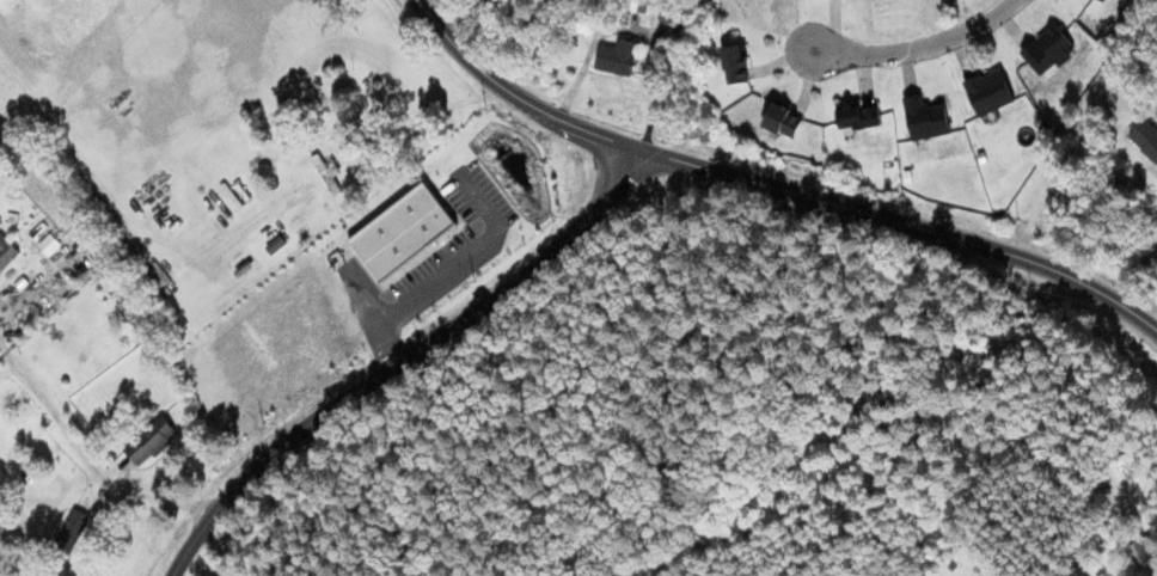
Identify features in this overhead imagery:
building: (1102, 1)
road: (925, 49)
building: (1047, 51)
building: (614, 59)
building: (733, 66)
building: (987, 93)
building: (857, 118)
building: (924, 120)
building: (780, 122)
building: (1145, 141)
building: (325, 173)
road: (771, 189)
building: (6, 255)
road: (404, 362)
building: (148, 442)
building: (69, 533)
building: (1140, 551)

